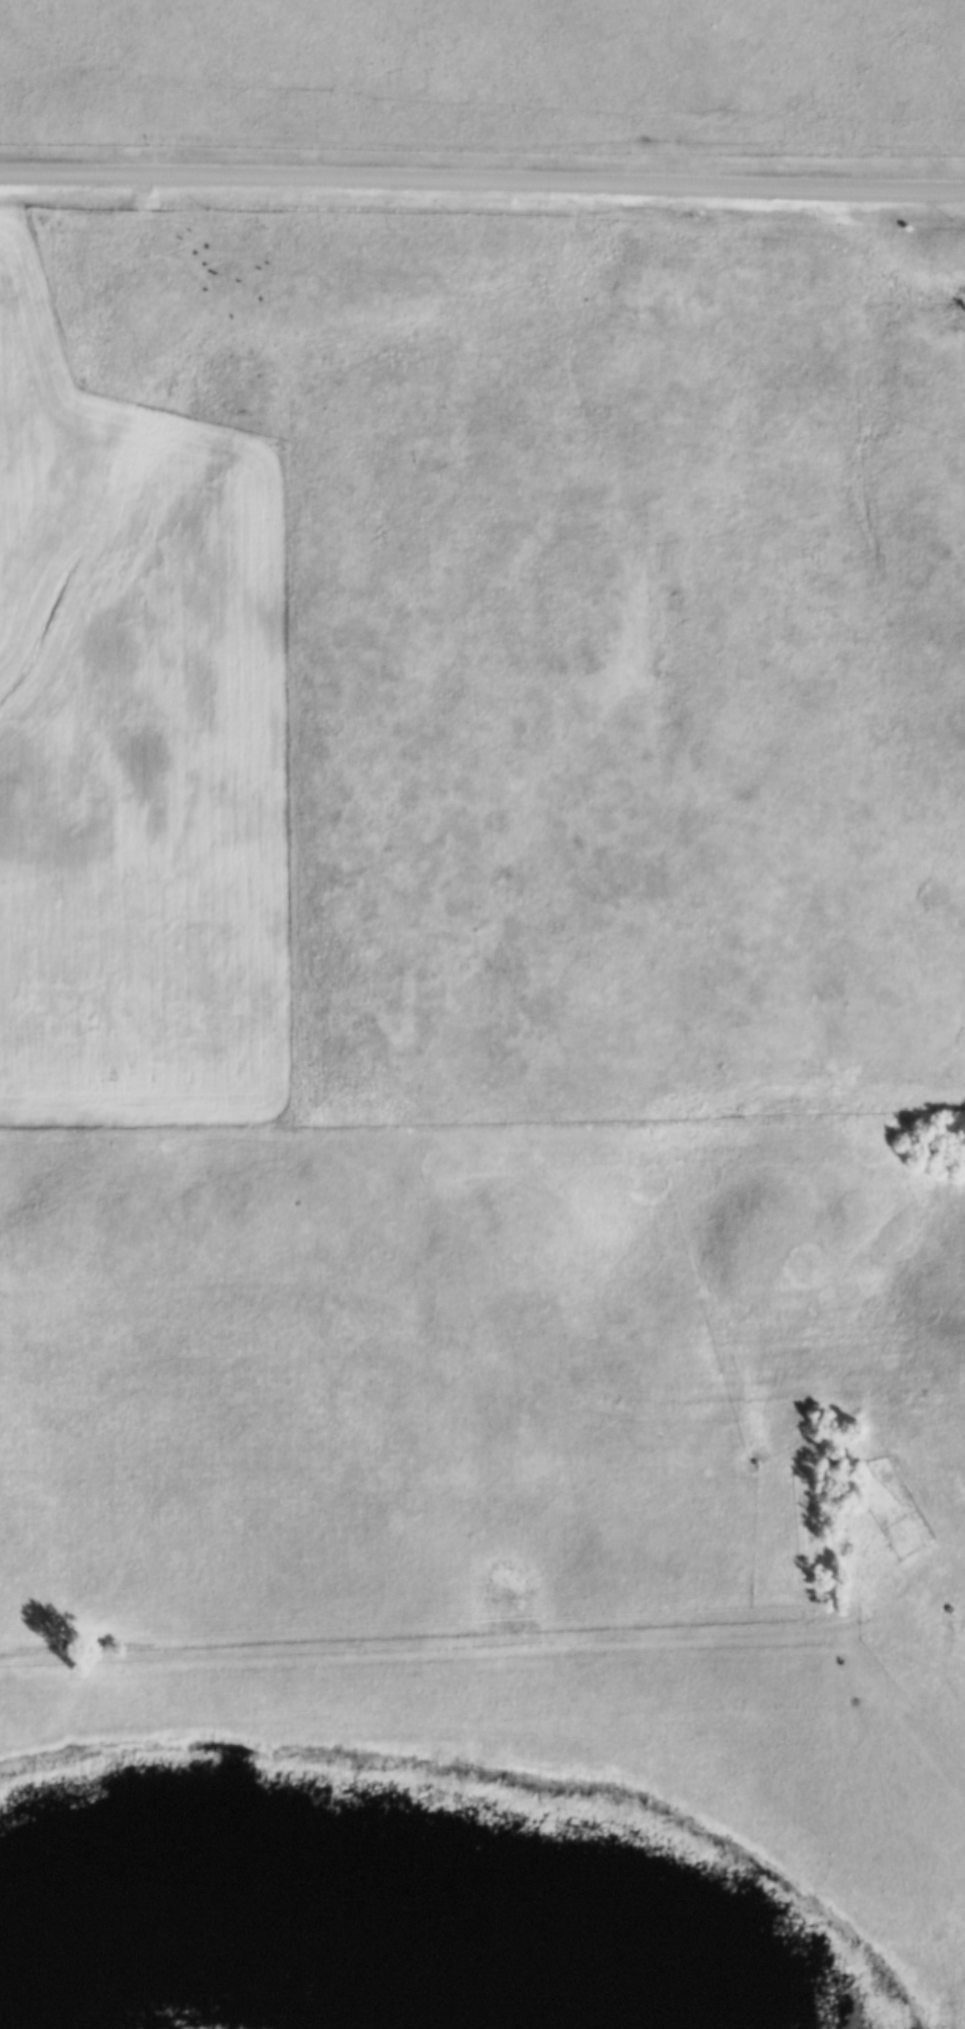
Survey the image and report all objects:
road: (482, 187)

